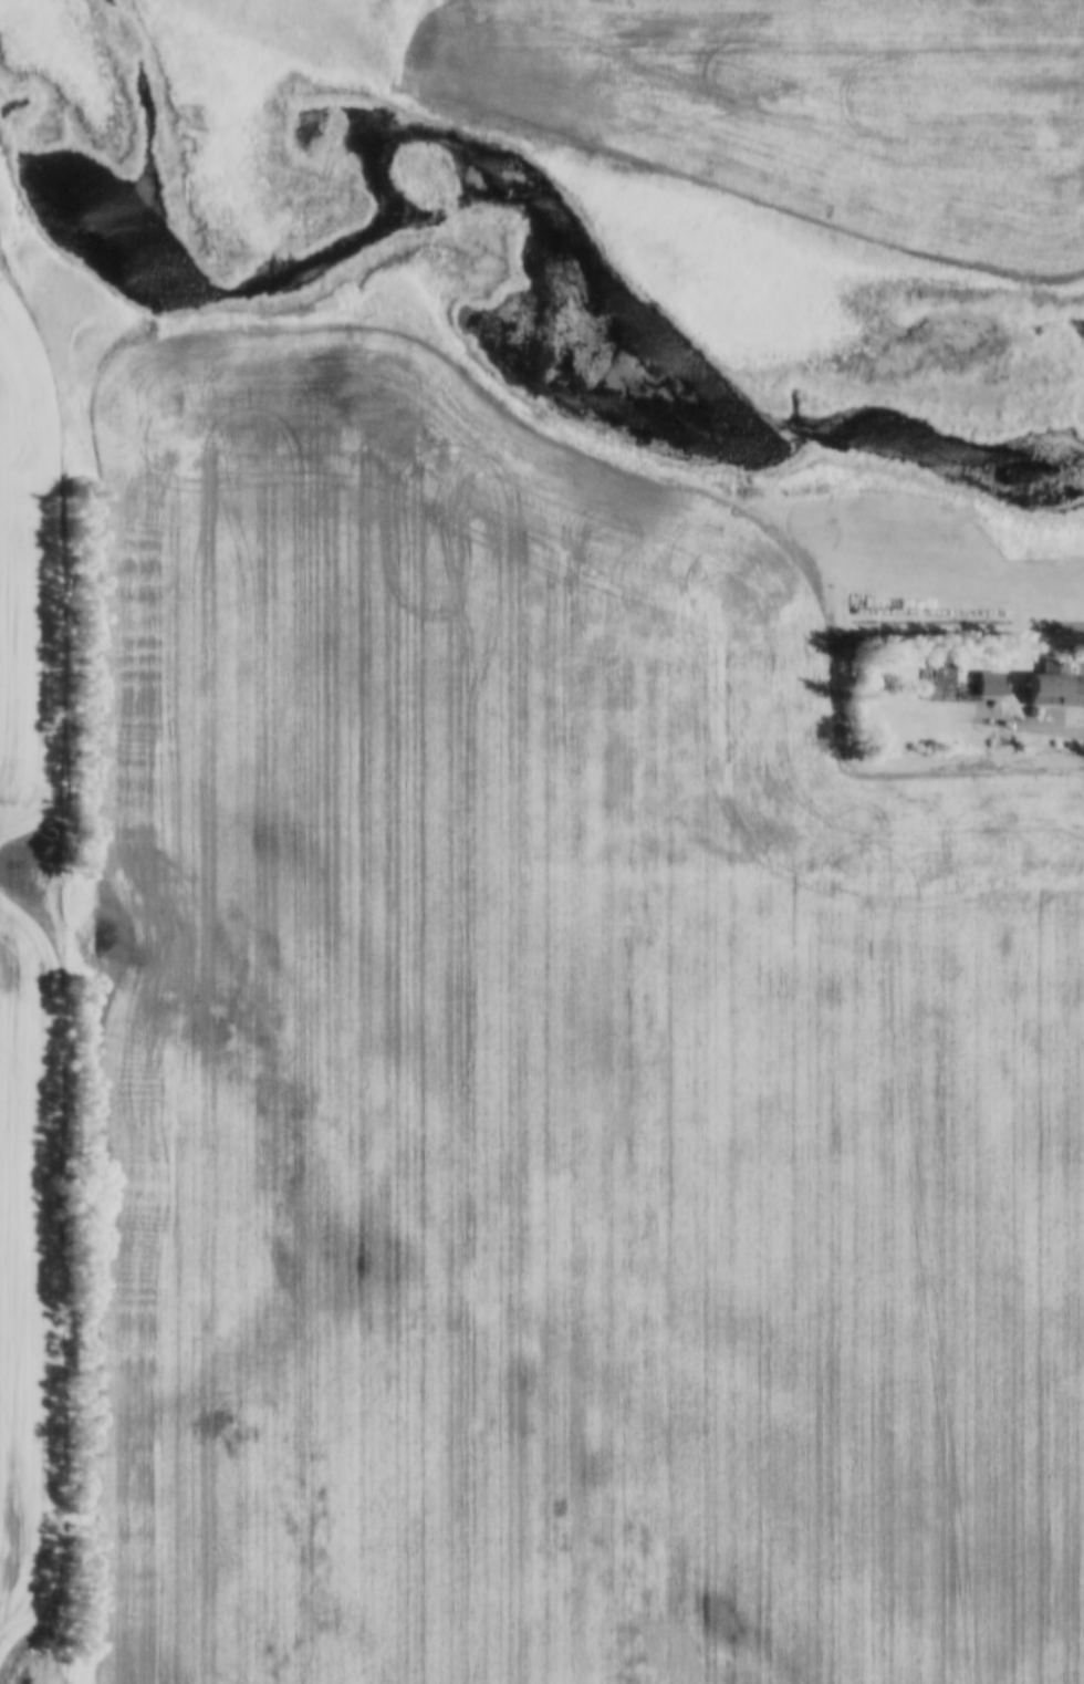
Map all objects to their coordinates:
building: (993, 685)
building: (1060, 694)
road: (1028, 718)

